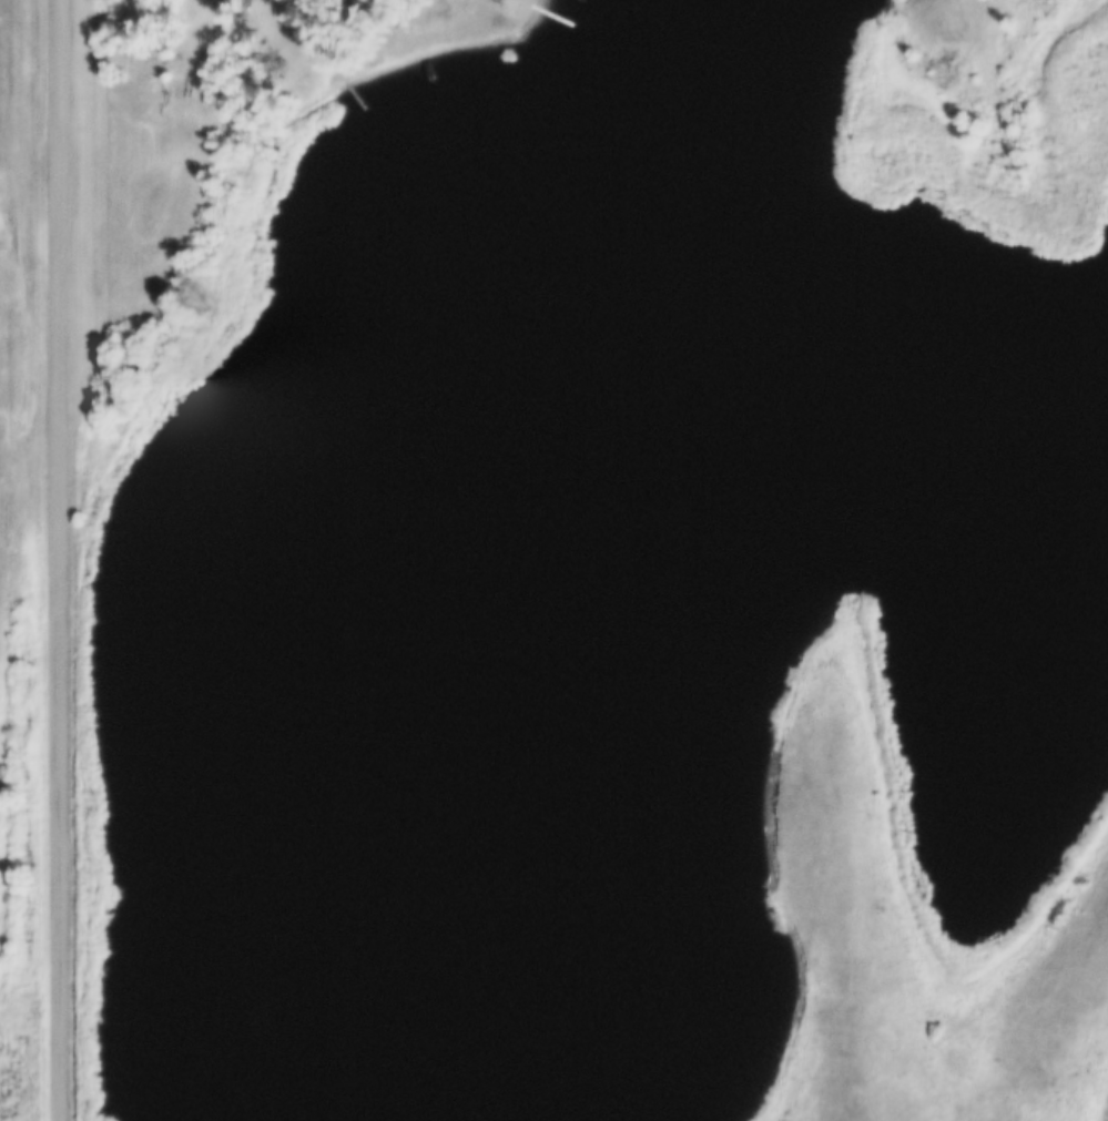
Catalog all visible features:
road: (57, 560)

